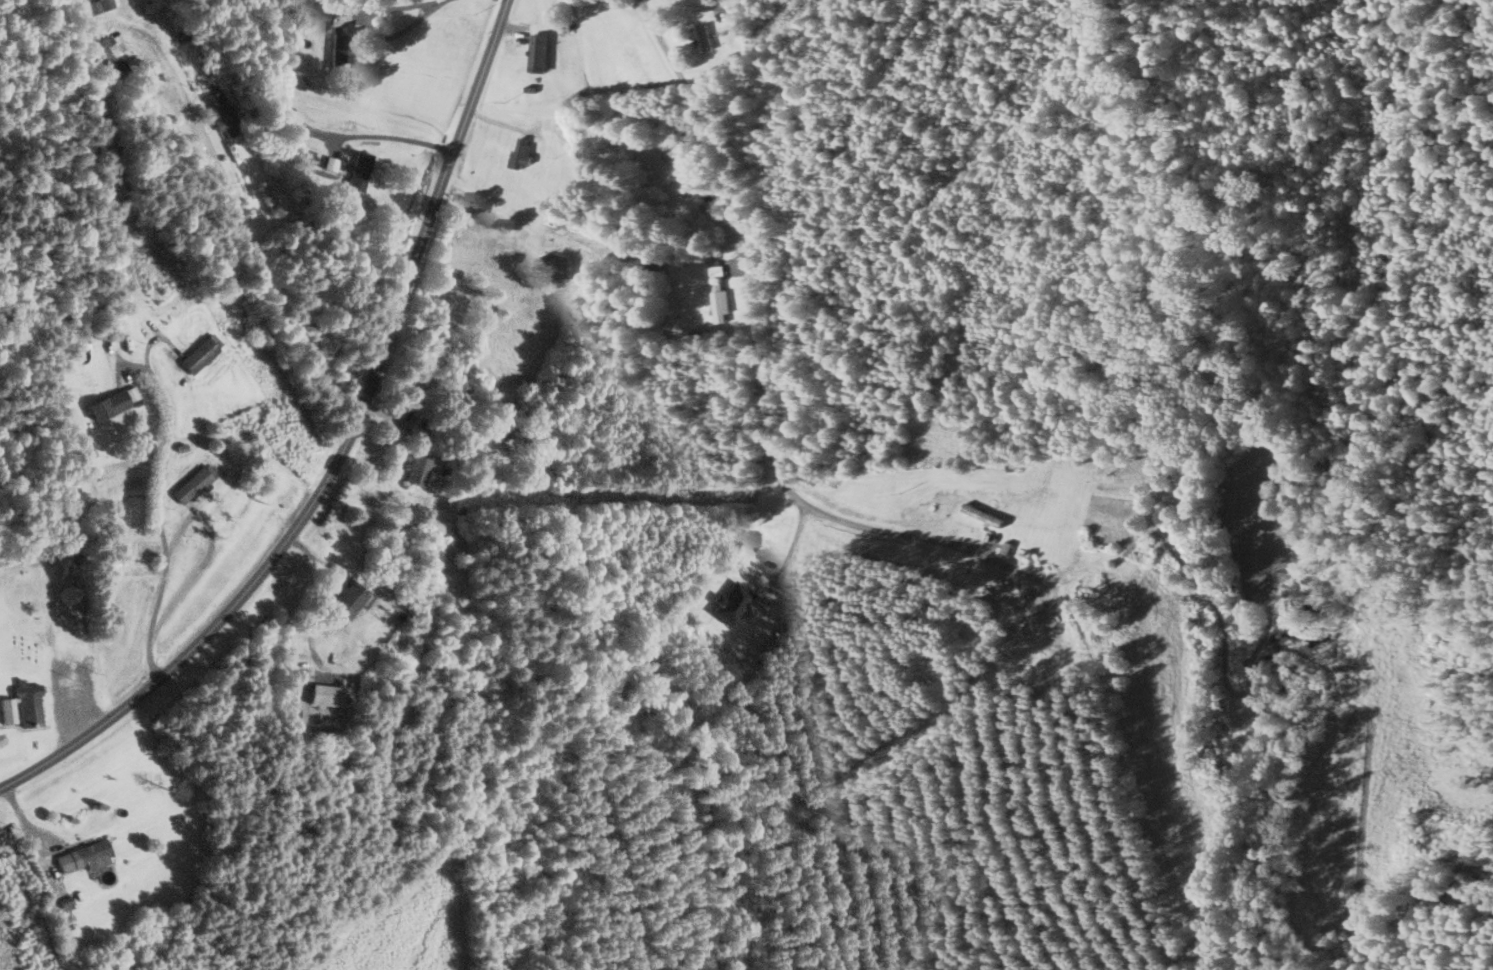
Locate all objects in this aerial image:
building: (87, 23)
building: (702, 36)
building: (344, 45)
building: (536, 51)
building: (193, 65)
building: (220, 113)
building: (288, 117)
road: (394, 136)
building: (520, 151)
building: (306, 155)
building: (682, 156)
building: (360, 170)
road: (243, 232)
building: (718, 300)
road: (749, 335)
building: (202, 353)
building: (114, 402)
road: (339, 453)
building: (417, 470)
building: (196, 483)
building: (984, 514)
road: (159, 520)
building: (46, 530)
building: (145, 550)
road: (787, 552)
road: (327, 584)
building: (349, 600)
building: (733, 601)
building: (25, 705)
building: (86, 857)

